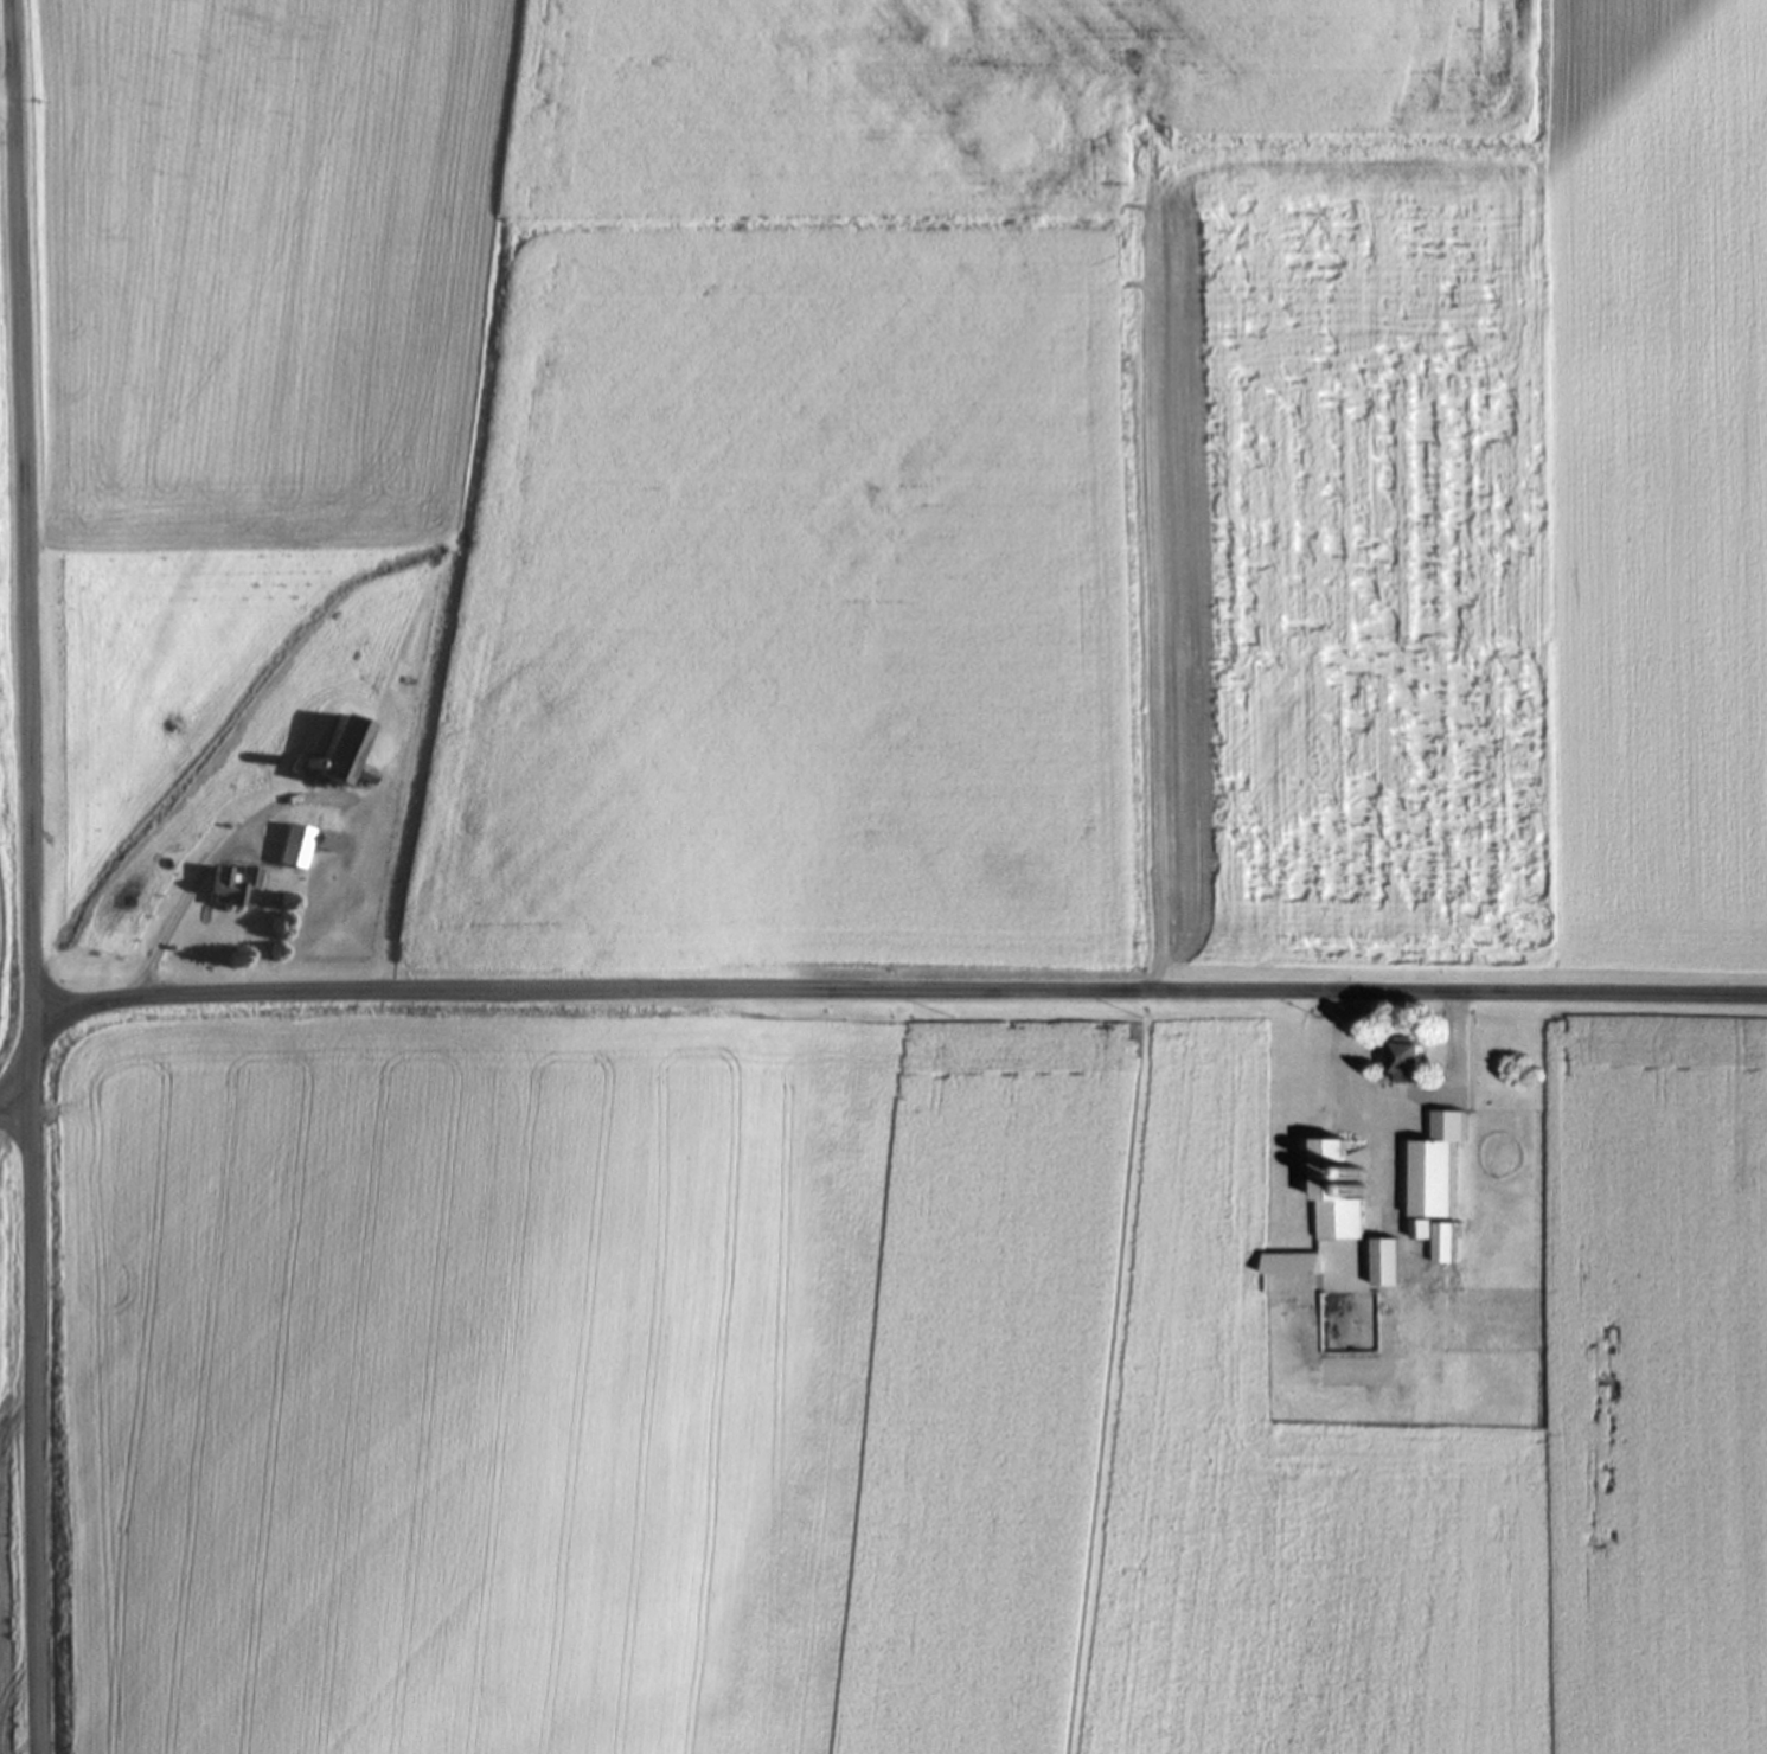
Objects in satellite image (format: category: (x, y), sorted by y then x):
road: (7, 91)
building: (350, 754)
building: (333, 841)
building: (299, 846)
road: (27, 877)
building: (236, 885)
road: (102, 990)
road: (857, 996)
building: (1413, 1062)
building: (1440, 1185)
building: (1340, 1192)
road: (17, 1209)
building: (1388, 1263)
building: (1293, 1265)

